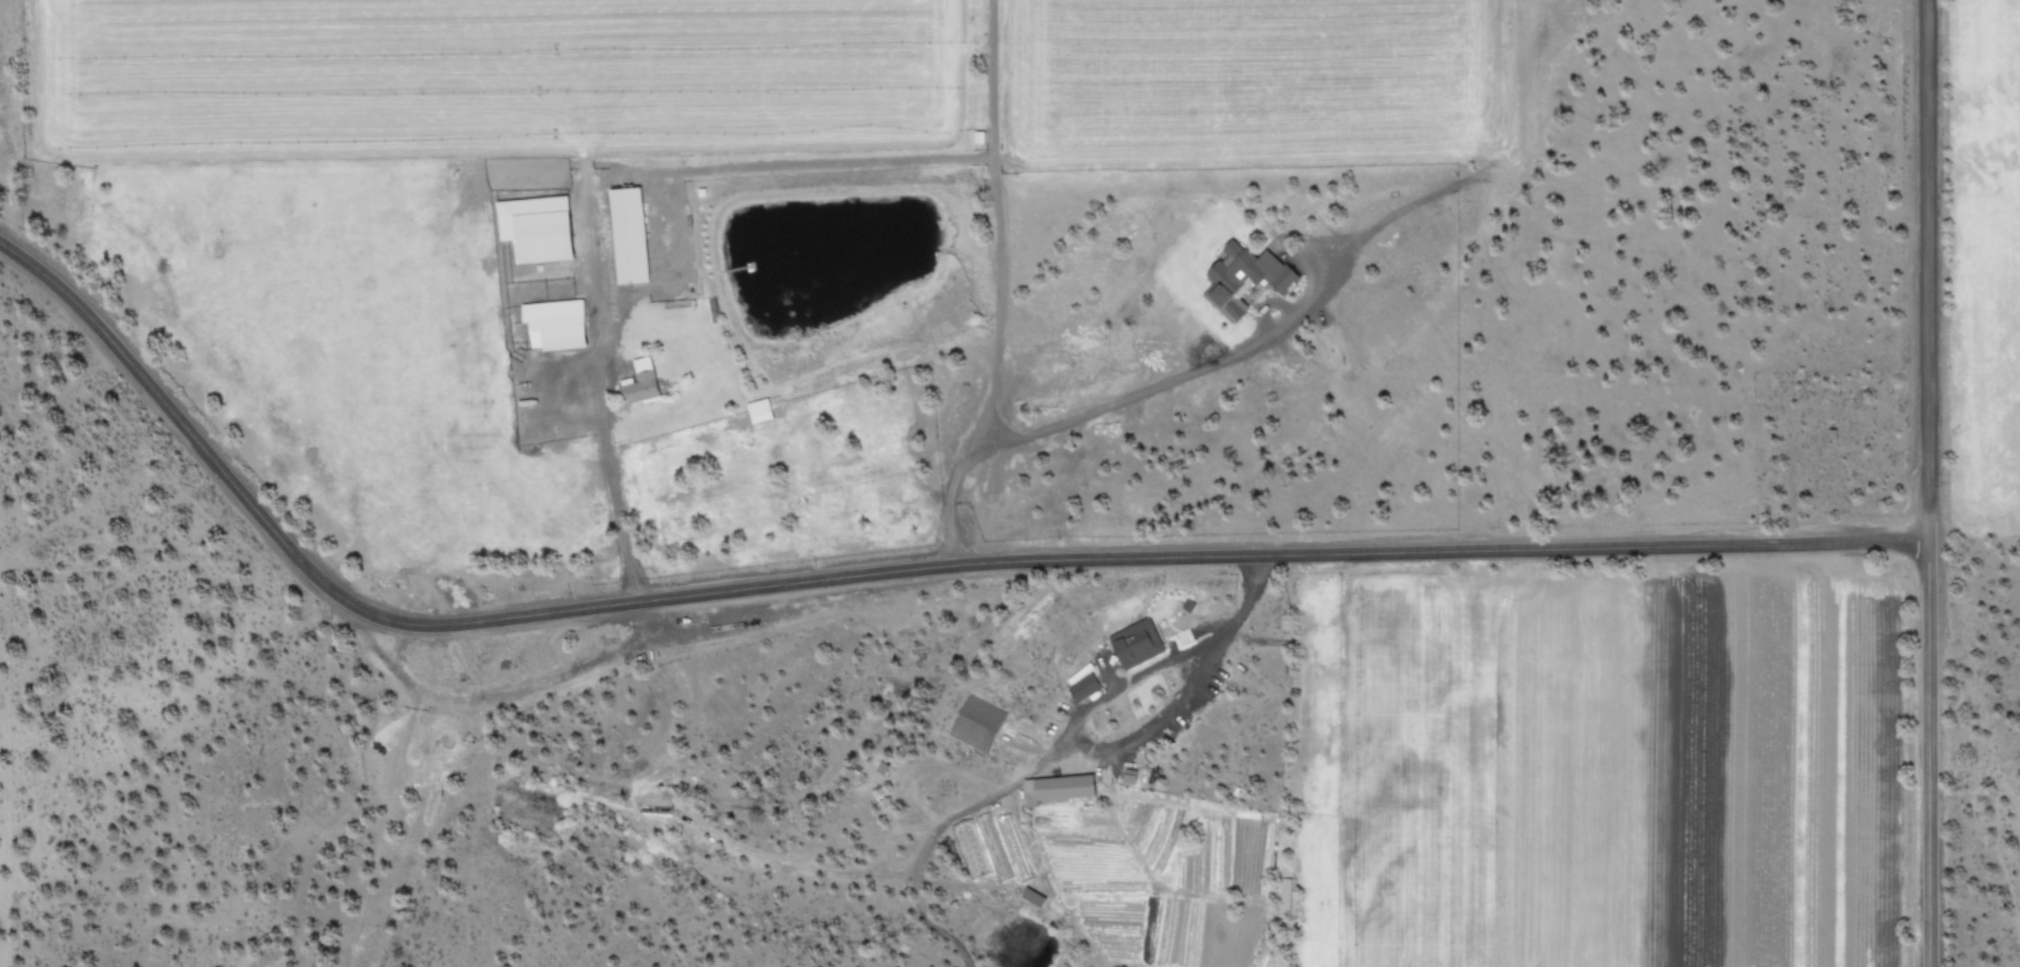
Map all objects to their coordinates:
building: (534, 227)
building: (626, 234)
crop: (746, 237)
crop: (1998, 260)
road: (1923, 271)
building: (1245, 276)
building: (553, 323)
building: (640, 382)
building: (757, 410)
road: (627, 547)
road: (879, 574)
building: (1135, 643)
building: (1082, 687)
building: (975, 722)
road: (1927, 755)
building: (1057, 789)
building: (1031, 896)

